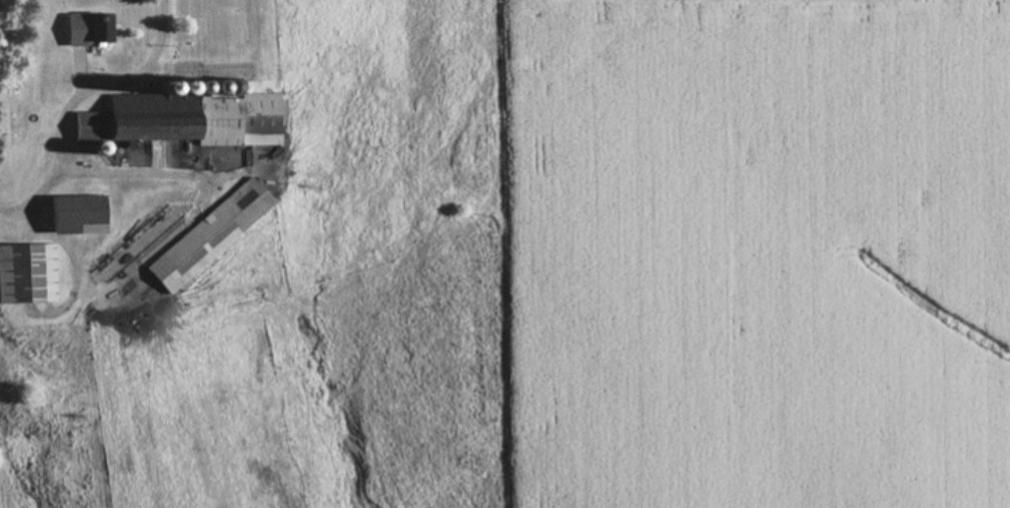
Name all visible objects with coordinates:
building: (217, 28)
building: (87, 32)
road: (73, 101)
building: (178, 129)
building: (76, 218)
building: (208, 239)
building: (27, 277)

